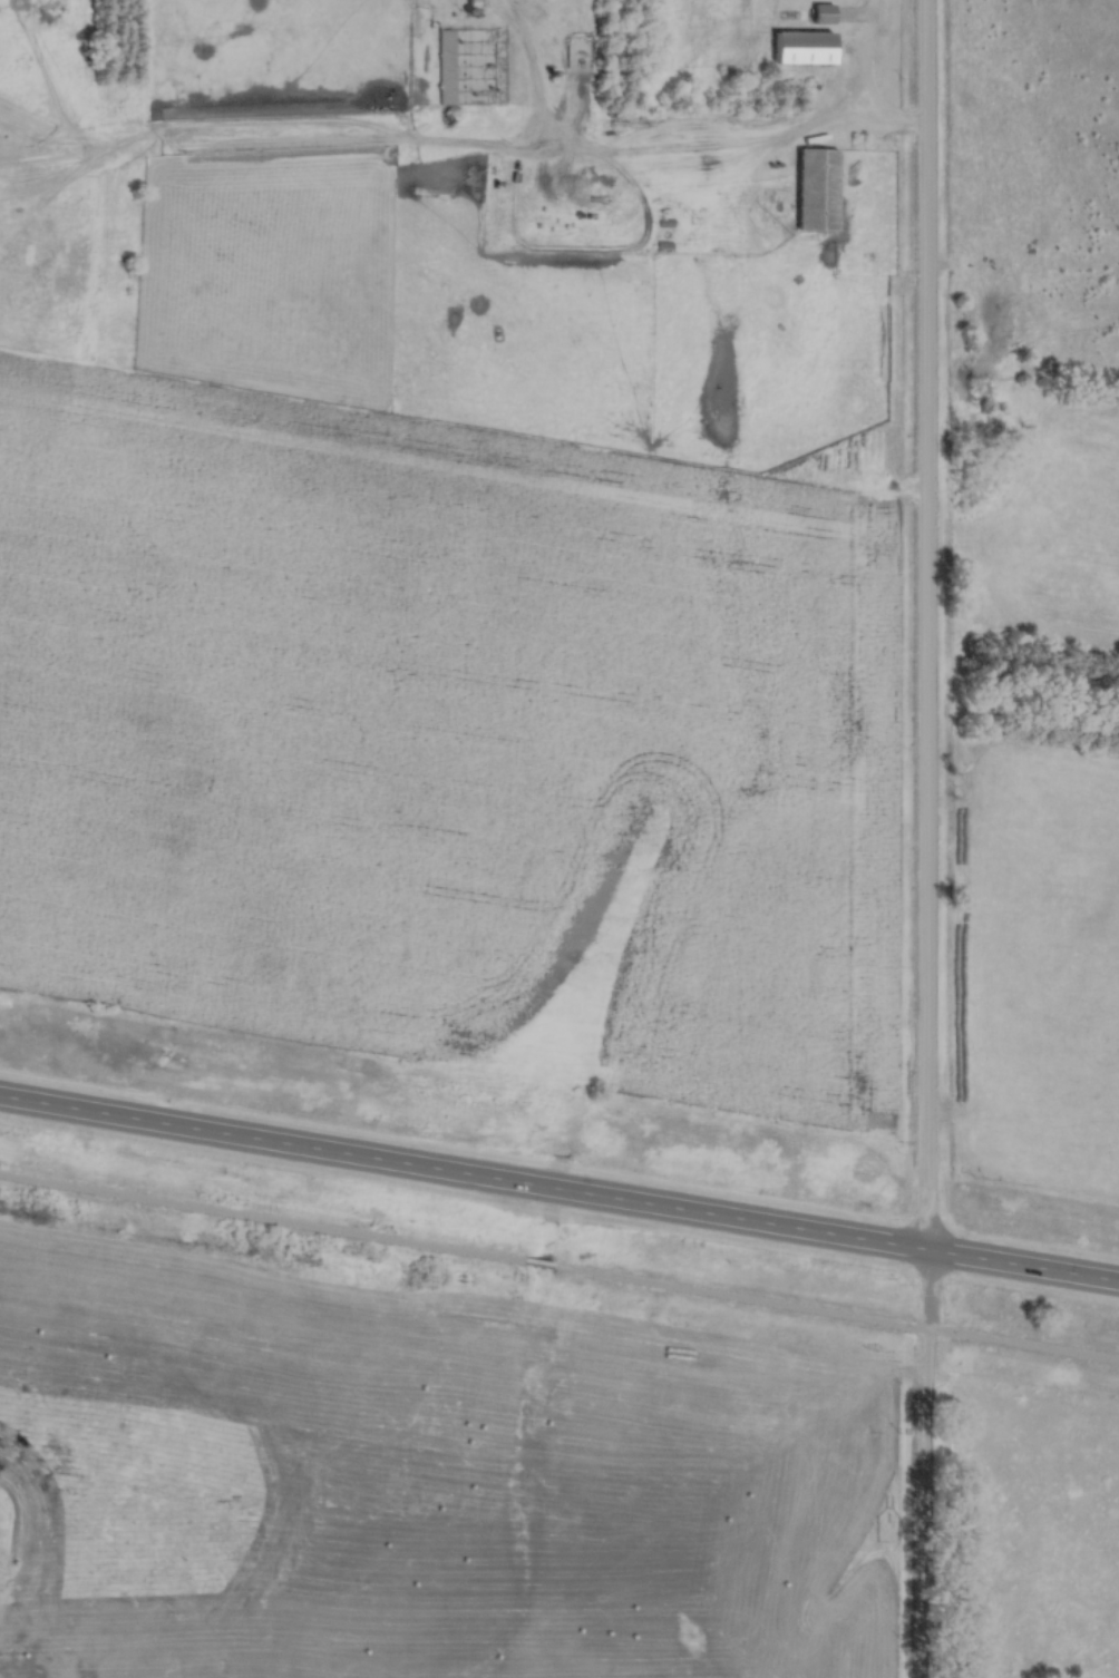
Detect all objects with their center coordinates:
road: (507, 12)
building: (824, 14)
building: (800, 47)
building: (446, 68)
road: (483, 154)
building: (815, 187)
road: (927, 839)
road: (558, 1188)
road: (263, 1218)
road: (541, 1264)
road: (743, 1297)
road: (1024, 1344)

